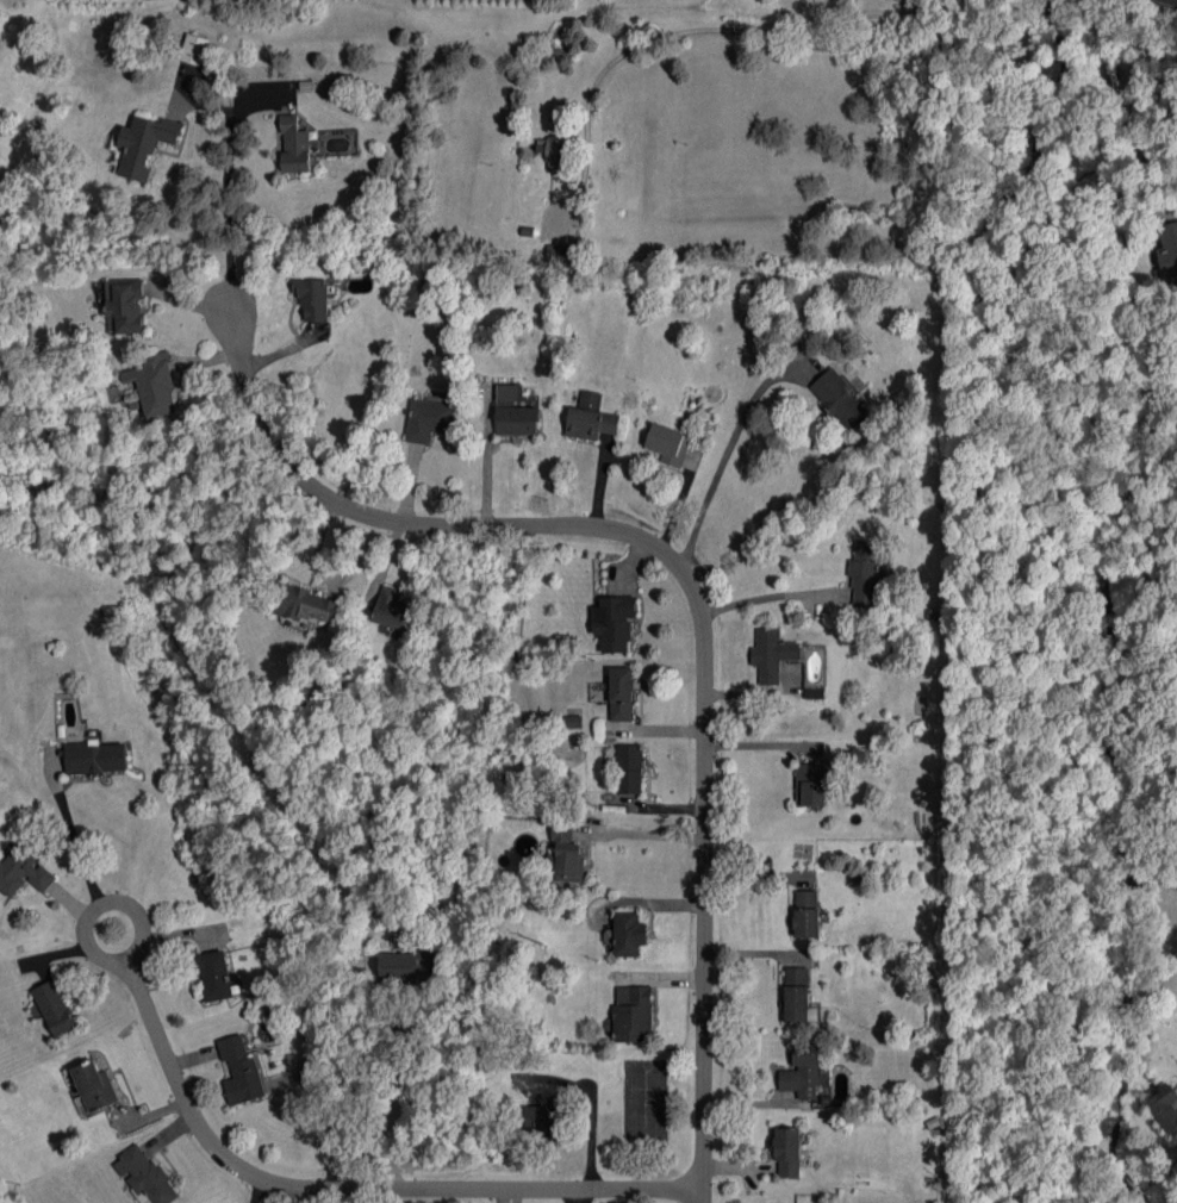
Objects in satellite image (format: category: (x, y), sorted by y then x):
road: (1176, 0)
road: (696, 31)
building: (194, 49)
road: (1127, 98)
building: (144, 143)
building: (294, 144)
building: (556, 152)
road: (226, 220)
building: (1169, 250)
building: (560, 253)
building: (313, 298)
building: (124, 305)
building: (154, 385)
building: (506, 394)
building: (840, 398)
building: (591, 417)
building: (428, 419)
building: (517, 420)
building: (668, 444)
road: (723, 459)
building: (865, 574)
road: (697, 591)
road: (760, 599)
building: (306, 606)
building: (393, 609)
building: (614, 622)
building: (772, 654)
building: (616, 692)
building: (95, 758)
building: (629, 768)
building: (811, 784)
road: (70, 834)
road: (649, 836)
building: (566, 850)
building: (24, 868)
road: (120, 902)
building: (807, 914)
building: (628, 933)
building: (404, 966)
building: (214, 976)
building: (796, 995)
building: (52, 1008)
building: (633, 1014)
building: (241, 1071)
building: (802, 1072)
building: (94, 1085)
road: (393, 1089)
building: (1165, 1108)
building: (789, 1152)
building: (144, 1176)
road: (356, 1185)

